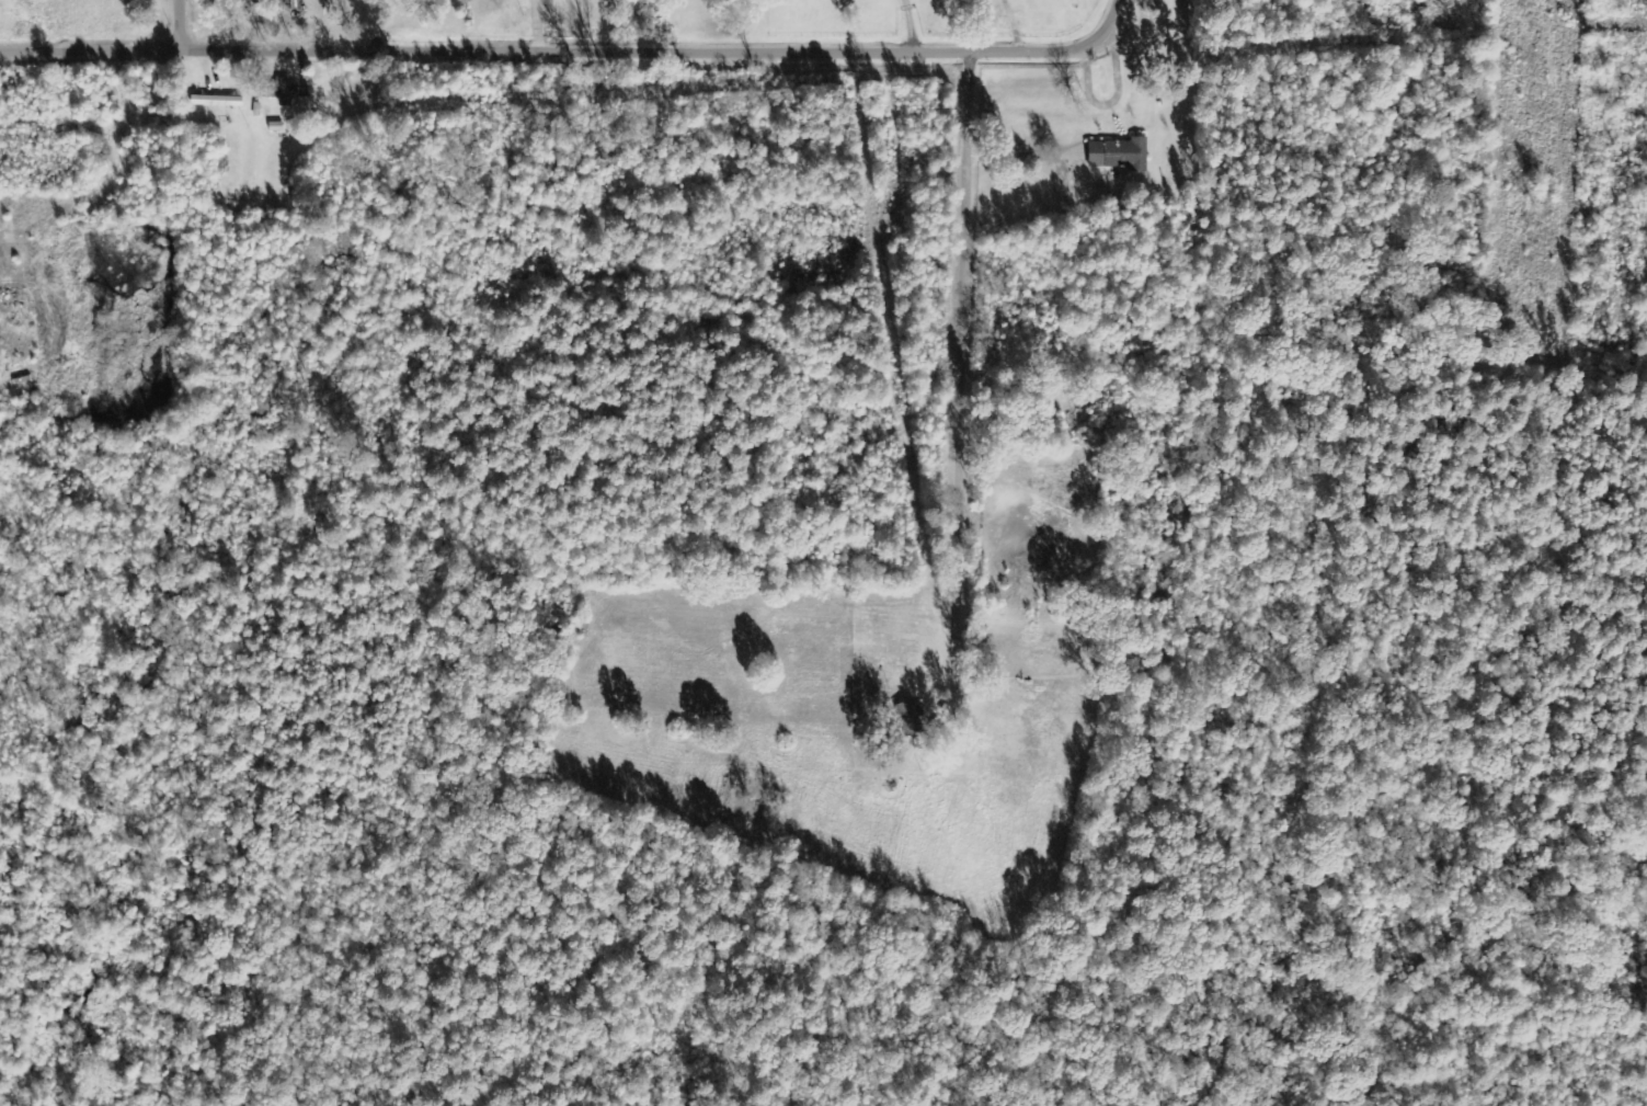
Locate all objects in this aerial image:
road: (178, 23)
road: (89, 48)
road: (665, 48)
building: (281, 91)
building: (1119, 155)
road: (49, 180)
road: (991, 411)
building: (910, 718)

